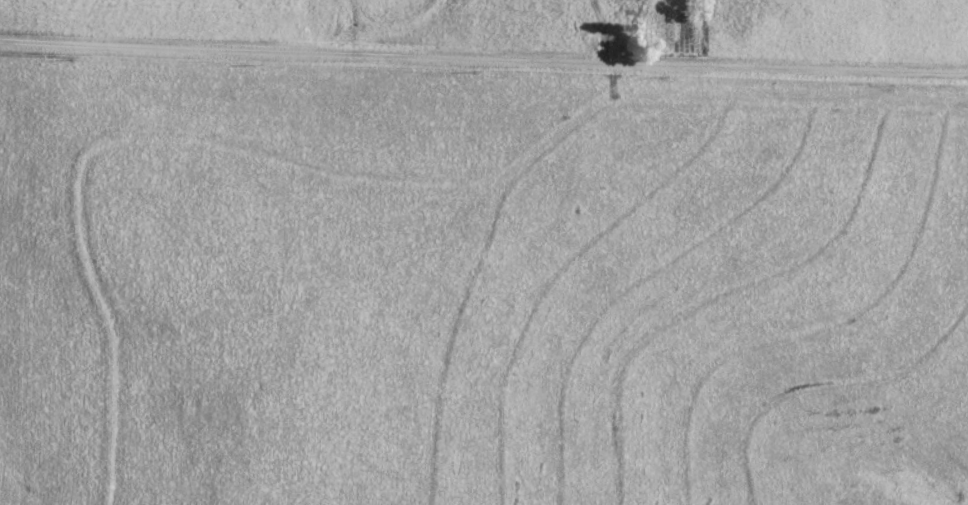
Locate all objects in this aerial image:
road: (483, 63)

